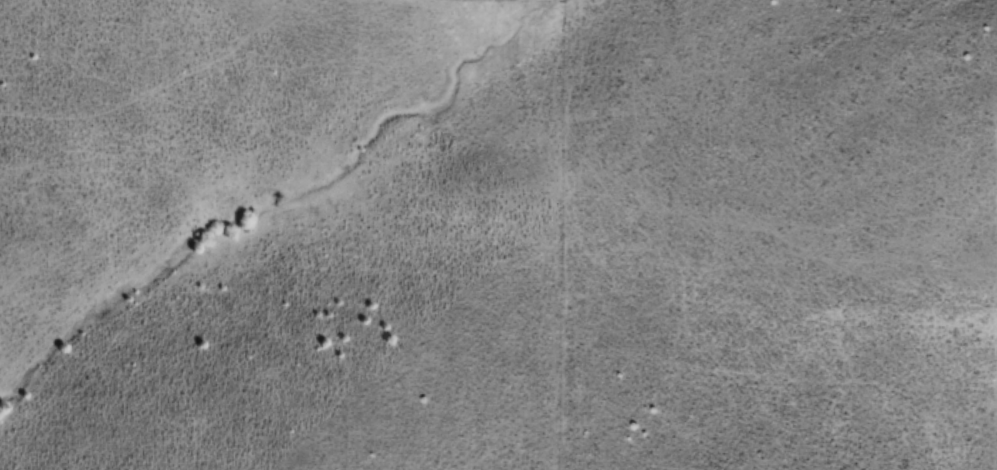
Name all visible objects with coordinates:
road: (142, 95)

